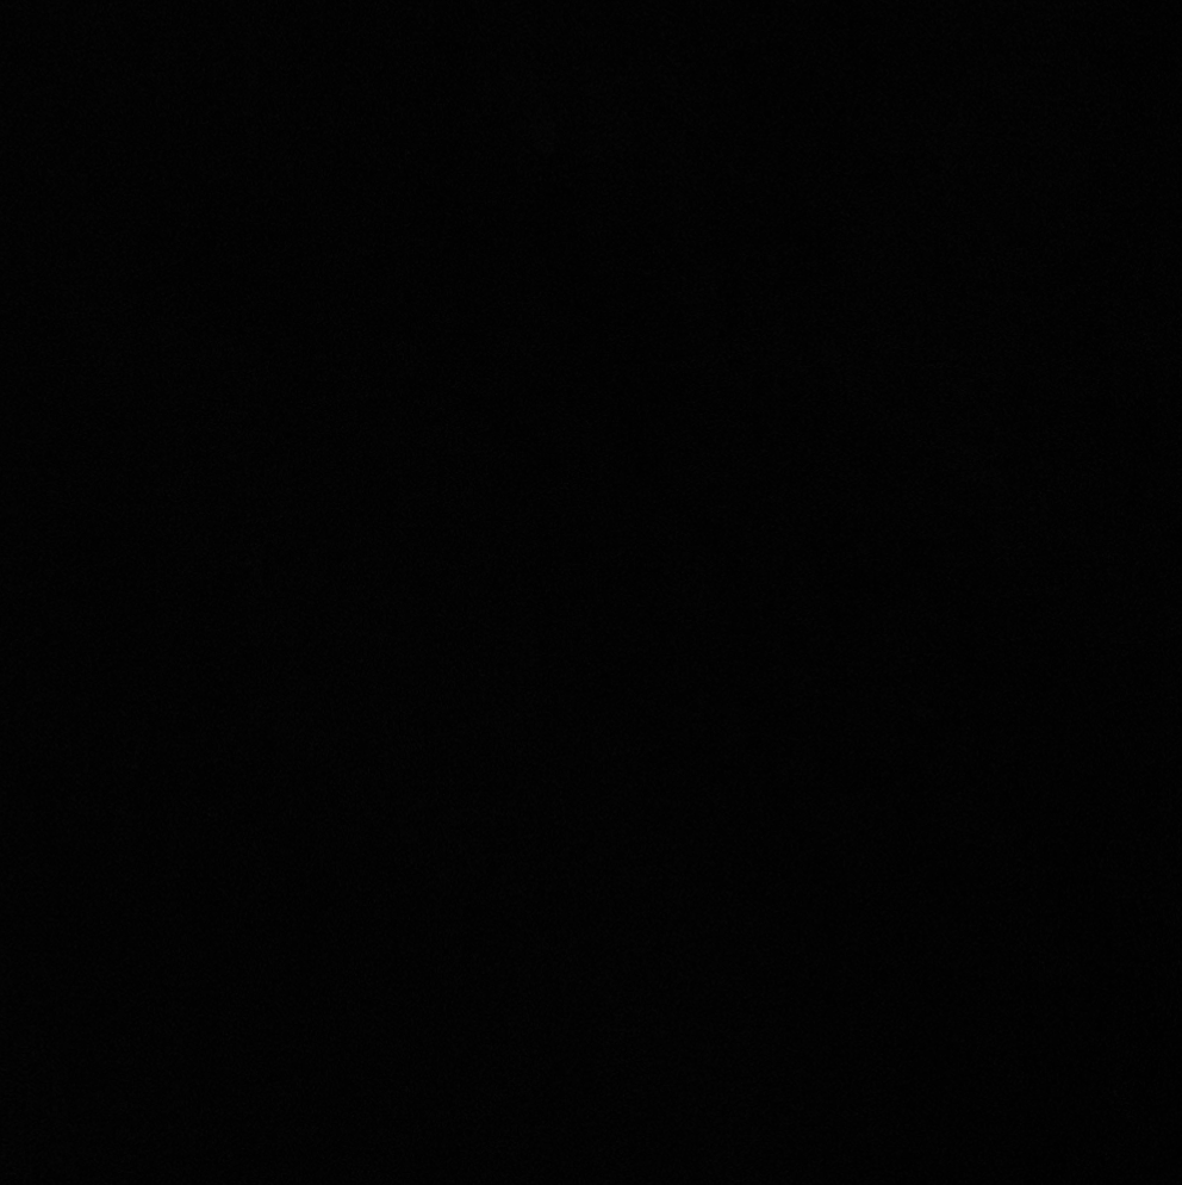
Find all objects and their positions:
river: (295, 592)

